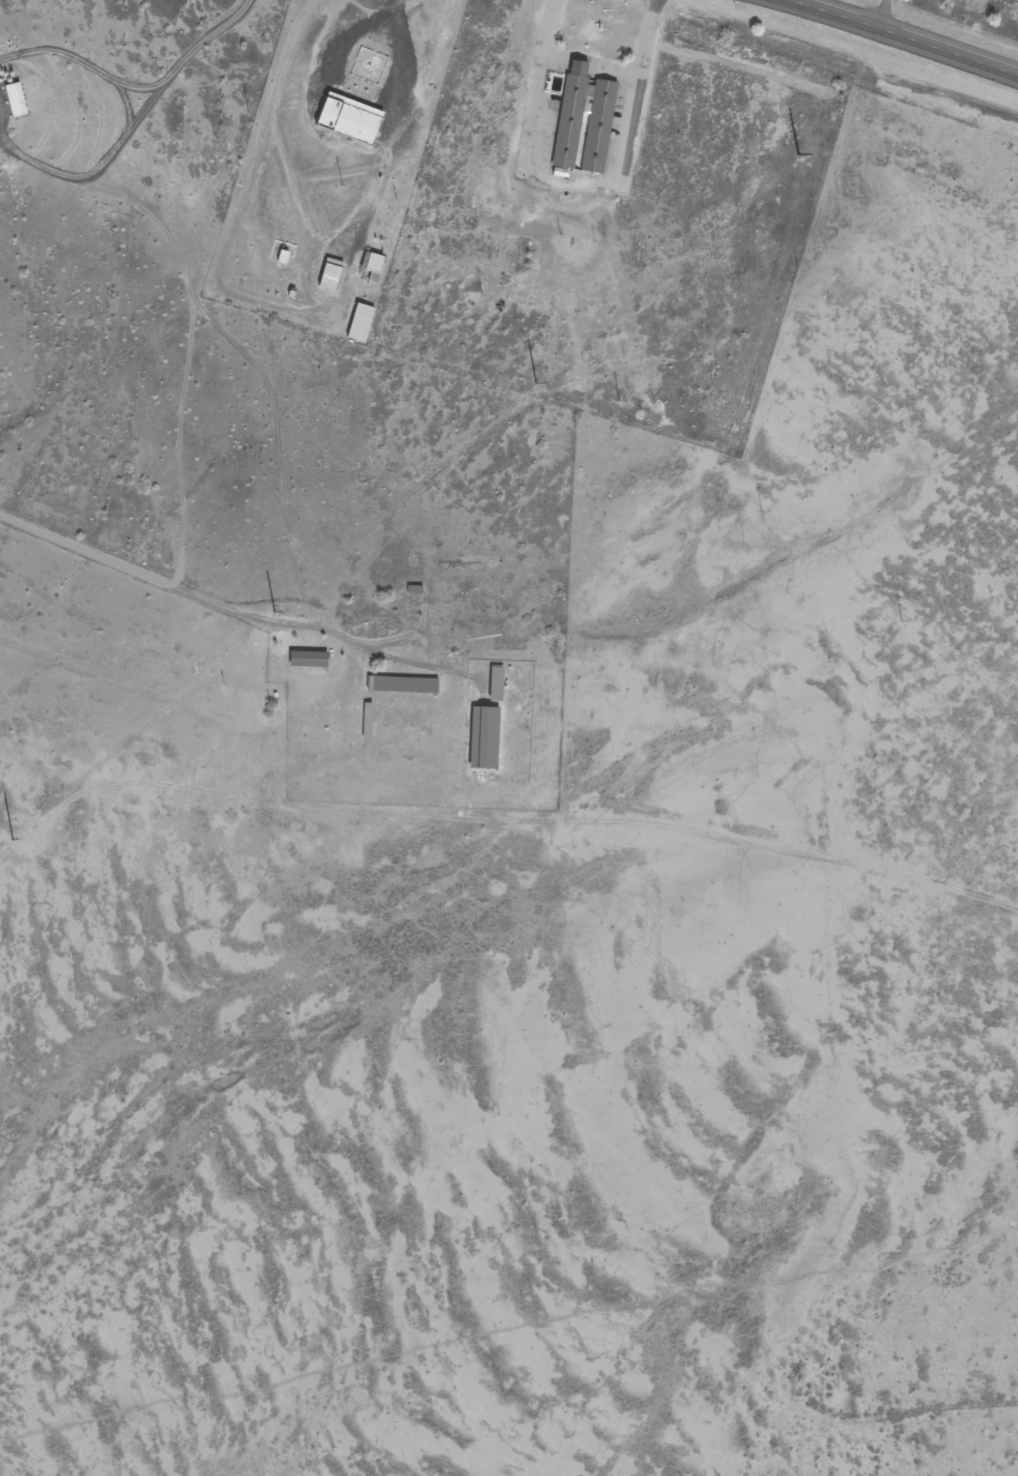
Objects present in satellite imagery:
road: (907, 37)
building: (368, 65)
building: (345, 116)
building: (563, 132)
power tower: (795, 155)
road: (65, 170)
building: (372, 263)
building: (328, 274)
building: (359, 322)
power tower: (534, 382)
road: (279, 440)
power tower: (272, 611)
building: (305, 659)
building: (494, 683)
building: (400, 684)
building: (366, 721)
building: (482, 738)
power tower: (10, 839)

